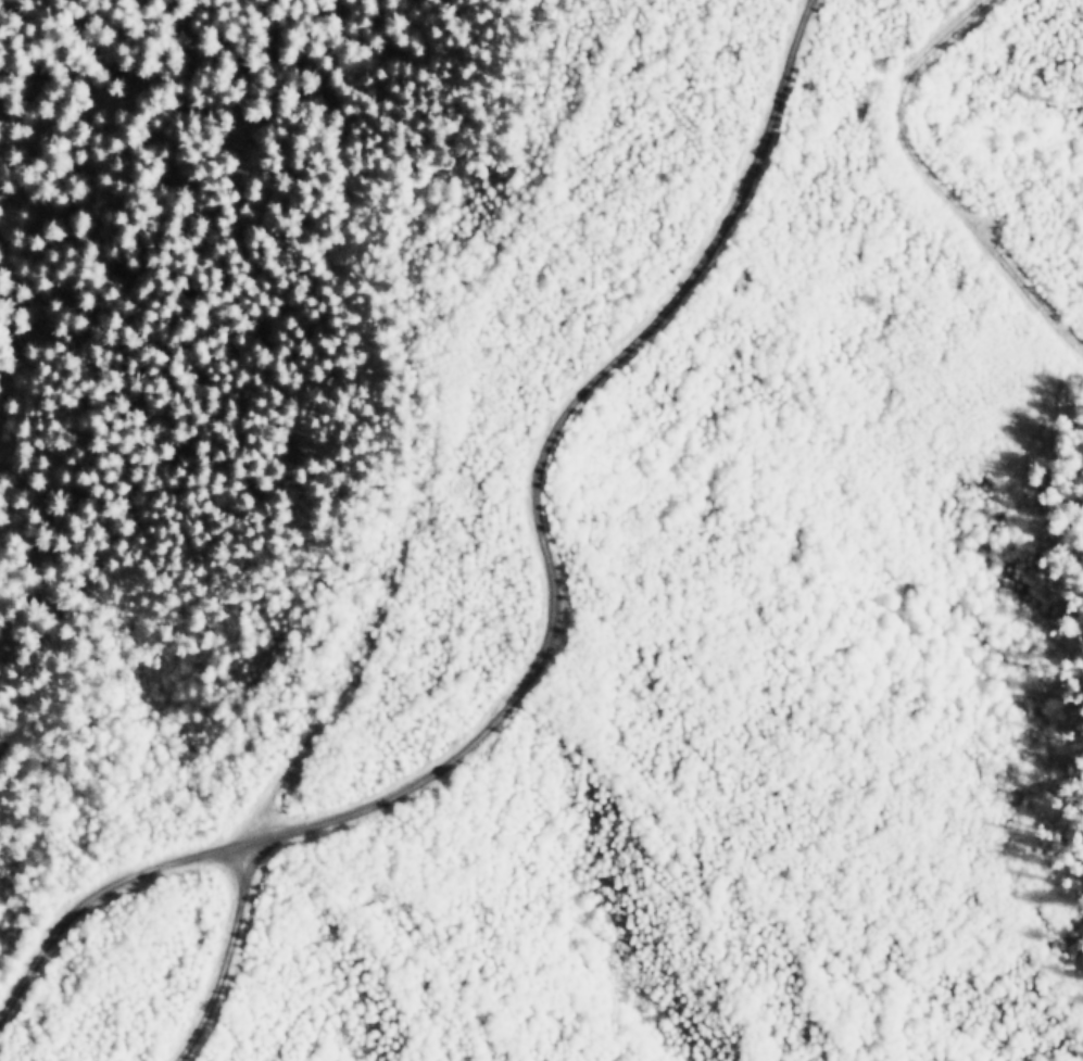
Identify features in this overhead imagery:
road: (574, 632)
road: (203, 947)

